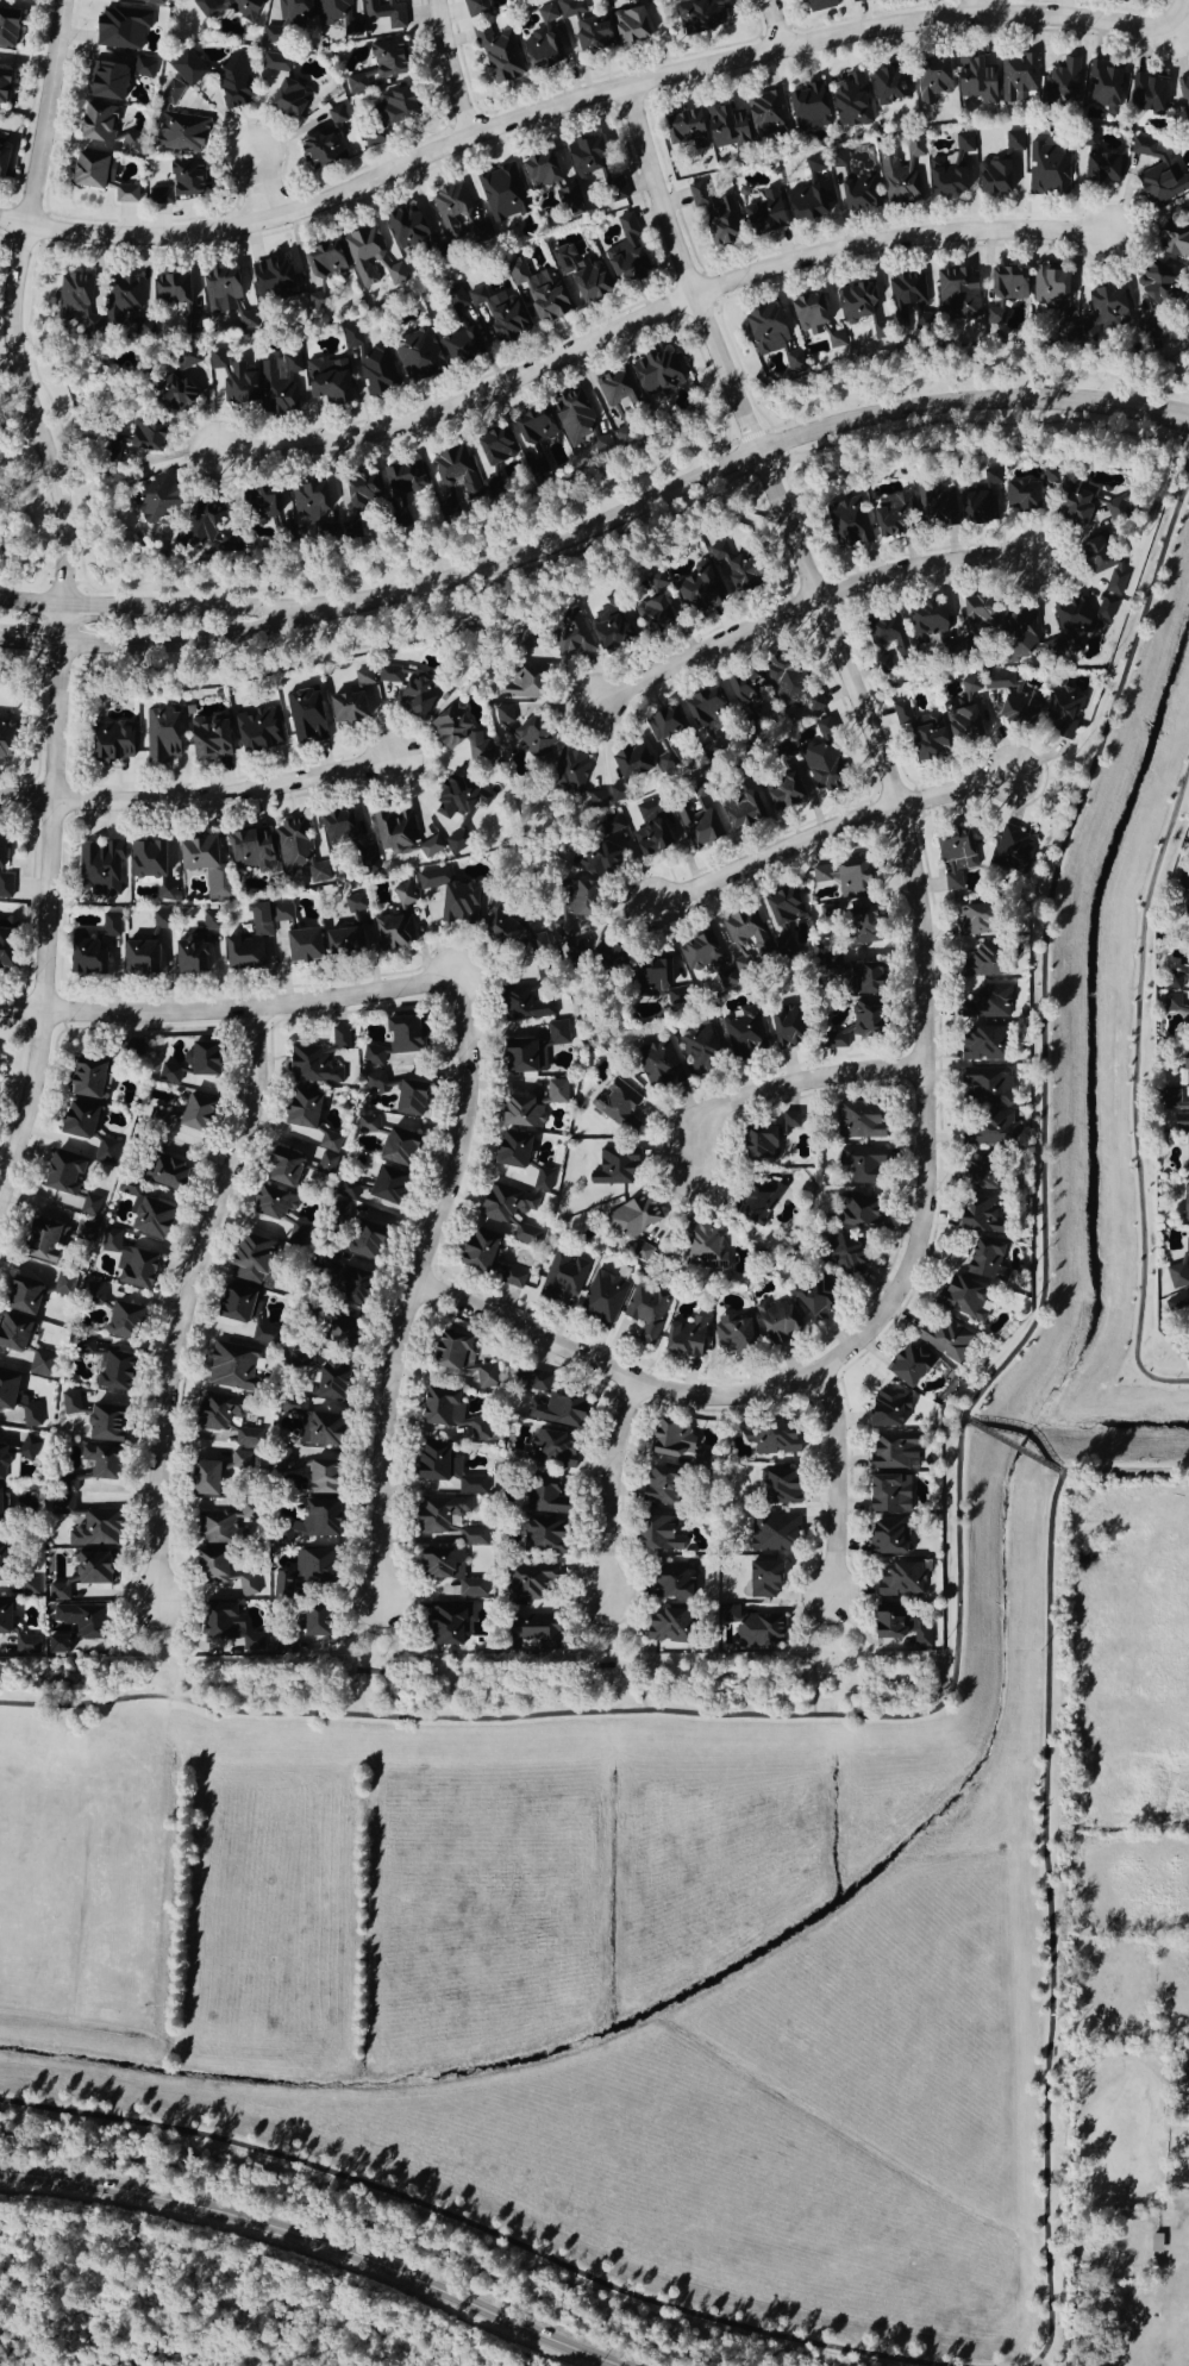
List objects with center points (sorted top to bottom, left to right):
building: (151, 2)
building: (826, 4)
building: (226, 7)
building: (474, 7)
road: (975, 8)
building: (699, 14)
building: (382, 15)
building: (338, 17)
building: (287, 19)
road: (1178, 19)
road: (777, 25)
building: (628, 26)
building: (6, 27)
building: (120, 27)
building: (584, 27)
building: (545, 42)
building: (497, 54)
road: (458, 64)
building: (376, 67)
building: (187, 68)
building: (143, 69)
building: (930, 80)
building: (974, 80)
building: (1019, 80)
building: (102, 81)
building: (233, 83)
building: (1062, 83)
building: (4, 86)
building: (1102, 86)
building: (887, 87)
building: (282, 88)
building: (1146, 94)
building: (1183, 100)
road: (578, 101)
building: (850, 101)
building: (807, 108)
building: (766, 114)
building: (387, 115)
building: (95, 126)
building: (703, 127)
building: (180, 134)
building: (1089, 138)
building: (325, 143)
building: (963, 143)
building: (999, 168)
building: (593, 169)
building: (1047, 169)
building: (1099, 169)
building: (539, 170)
building: (85, 171)
building: (900, 171)
building: (1158, 175)
building: (184, 179)
building: (944, 180)
building: (850, 186)
road: (261, 187)
building: (124, 194)
building: (500, 194)
building: (158, 196)
building: (807, 198)
building: (451, 209)
building: (759, 212)
building: (714, 213)
building: (405, 226)
building: (1174, 239)
building: (363, 252)
building: (625, 255)
building: (319, 265)
building: (398, 273)
building: (578, 275)
building: (271, 281)
building: (1006, 283)
building: (1151, 286)
building: (1049, 288)
building: (167, 290)
building: (218, 290)
building: (538, 295)
building: (957, 295)
building: (119, 298)
building: (457, 300)
building: (73, 301)
building: (855, 301)
building: (1106, 308)
building: (496, 313)
road: (650, 314)
building: (814, 319)
building: (764, 330)
building: (462, 345)
building: (417, 355)
building: (187, 361)
building: (367, 363)
building: (789, 367)
building: (653, 376)
building: (229, 381)
building: (325, 381)
building: (279, 386)
building: (618, 392)
building: (175, 394)
building: (570, 415)
road: (972, 426)
building: (531, 427)
building: (621, 437)
building: (142, 438)
road: (739, 461)
road: (1184, 462)
building: (446, 463)
building: (401, 478)
building: (1049, 478)
building: (359, 492)
building: (1019, 496)
building: (155, 499)
building: (265, 502)
building: (980, 502)
building: (309, 505)
building: (935, 508)
building: (1071, 508)
building: (1112, 508)
building: (889, 515)
building: (845, 522)
building: (200, 537)
building: (1096, 564)
building: (730, 569)
road: (62, 575)
building: (1115, 584)
building: (696, 591)
road: (809, 601)
road: (151, 609)
building: (976, 616)
building: (651, 618)
building: (1081, 620)
building: (925, 624)
building: (606, 631)
building: (569, 634)
building: (884, 634)
building: (1024, 639)
road: (155, 647)
road: (843, 665)
building: (881, 666)
building: (514, 682)
building: (789, 687)
building: (409, 691)
building: (1012, 700)
building: (355, 701)
building: (701, 708)
building: (1062, 713)
building: (962, 714)
building: (305, 716)
building: (503, 716)
building: (821, 726)
building: (256, 731)
building: (919, 733)
building: (459, 736)
building: (161, 737)
building: (659, 737)
building: (532, 738)
building: (111, 741)
building: (782, 752)
building: (627, 763)
building: (819, 769)
building: (574, 778)
building: (781, 793)
building: (614, 794)
road: (198, 799)
building: (458, 800)
road: (1039, 800)
building: (740, 809)
building: (697, 825)
building: (334, 828)
building: (650, 830)
building: (393, 831)
road: (827, 834)
building: (456, 843)
building: (430, 847)
building: (249, 852)
building: (1012, 852)
building: (298, 855)
building: (952, 856)
building: (365, 858)
building: (145, 860)
building: (597, 860)
building: (201, 863)
building: (99, 870)
building: (841, 878)
building: (4, 882)
building: (1184, 883)
building: (168, 894)
building: (449, 897)
building: (352, 905)
building: (1183, 909)
building: (572, 914)
building: (780, 916)
building: (395, 920)
building: (966, 920)
building: (161, 921)
building: (855, 927)
building: (497, 929)
building: (1188, 931)
building: (745, 937)
building: (254, 939)
building: (340, 943)
building: (5, 945)
building: (537, 946)
building: (299, 947)
building: (194, 949)
building: (697, 951)
building: (89, 952)
building: (136, 959)
building: (982, 962)
building: (167, 963)
building: (861, 974)
building: (1176, 977)
building: (650, 978)
building: (984, 1002)
building: (1174, 1004)
building: (521, 1007)
road: (227, 1009)
building: (863, 1019)
building: (781, 1026)
building: (556, 1033)
building: (741, 1033)
building: (393, 1039)
building: (832, 1039)
building: (980, 1044)
building: (130, 1047)
building: (694, 1049)
building: (520, 1056)
building: (317, 1059)
building: (200, 1060)
building: (656, 1064)
building: (1184, 1070)
building: (169, 1074)
building: (82, 1079)
building: (376, 1083)
road: (790, 1084)
building: (984, 1085)
road: (1132, 1089)
building: (407, 1098)
building: (617, 1104)
building: (531, 1106)
building: (299, 1109)
building: (1175, 1113)
building: (188, 1114)
building: (74, 1120)
building: (788, 1120)
building: (856, 1121)
building: (364, 1125)
building: (756, 1143)
building: (984, 1144)
building: (394, 1146)
building: (508, 1150)
building: (105, 1151)
building: (1187, 1153)
building: (296, 1159)
building: (858, 1164)
building: (164, 1165)
building: (613, 1168)
building: (58, 1173)
building: (543, 1179)
building: (383, 1185)
building: (345, 1190)
building: (756, 1201)
building: (1184, 1202)
building: (89, 1204)
building: (268, 1204)
building: (855, 1210)
building: (507, 1214)
building: (146, 1218)
building: (634, 1218)
building: (977, 1218)
building: (44, 1232)
building: (82, 1232)
building: (361, 1239)
building: (109, 1240)
building: (701, 1245)
building: (1185, 1248)
building: (477, 1252)
building: (839, 1253)
building: (249, 1258)
building: (982, 1262)
building: (133, 1267)
building: (561, 1276)
building: (1176, 1276)
building: (512, 1279)
building: (63, 1284)
building: (348, 1284)
road: (414, 1288)
building: (94, 1292)
building: (18, 1295)
building: (602, 1297)
building: (811, 1297)
building: (960, 1298)
road: (183, 1301)
building: (233, 1303)
building: (1176, 1306)
building: (646, 1312)
building: (120, 1320)
building: (11, 1333)
building: (337, 1333)
building: (262, 1334)
building: (731, 1335)
building: (686, 1338)
building: (944, 1339)
building: (83, 1346)
building: (451, 1354)
building: (39, 1364)
building: (906, 1365)
building: (227, 1367)
building: (109, 1370)
building: (484, 1377)
building: (327, 1381)
road: (674, 1387)
building: (6, 1390)
building: (69, 1403)
building: (290, 1407)
building: (438, 1407)
building: (553, 1408)
building: (886, 1409)
building: (14, 1412)
building: (30, 1415)
building: (224, 1421)
road: (964, 1422)
building: (102, 1423)
building: (463, 1429)
building: (320, 1431)
building: (770, 1438)
building: (671, 1444)
building: (27, 1447)
building: (551, 1448)
road: (1012, 1448)
building: (889, 1451)
building: (0, 1457)
building: (281, 1461)
building: (83, 1465)
building: (443, 1467)
road: (1125, 1471)
road: (836, 1476)
road: (1059, 1476)
building: (319, 1477)
building: (201, 1478)
building: (778, 1486)
road: (607, 1489)
building: (656, 1489)
building: (887, 1494)
building: (1, 1495)
building: (438, 1515)
building: (543, 1516)
building: (309, 1522)
building: (220, 1527)
building: (90, 1531)
building: (772, 1533)
building: (656, 1535)
building: (470, 1536)
building: (884, 1536)
road: (956, 1542)
building: (436, 1564)
building: (89, 1569)
building: (300, 1572)
building: (221, 1575)
building: (530, 1579)
building: (762, 1579)
building: (896, 1581)
building: (668, 1582)
building: (29, 1588)
building: (470, 1588)
building: (57, 1591)
building: (4, 1616)
building: (80, 1621)
building: (444, 1622)
building: (884, 1622)
building: (311, 1623)
building: (224, 1625)
building: (664, 1626)
building: (755, 1632)
building: (530, 1633)
building: (919, 1634)
building: (25, 1645)
building: (54, 1645)
road: (138, 1650)
road: (392, 1651)
road: (812, 1655)
road: (612, 1661)
road: (564, 1666)
road: (1049, 1926)
building: (1181, 2103)
road: (484, 2229)
road: (415, 2237)
road: (319, 2240)
building: (1157, 2242)

